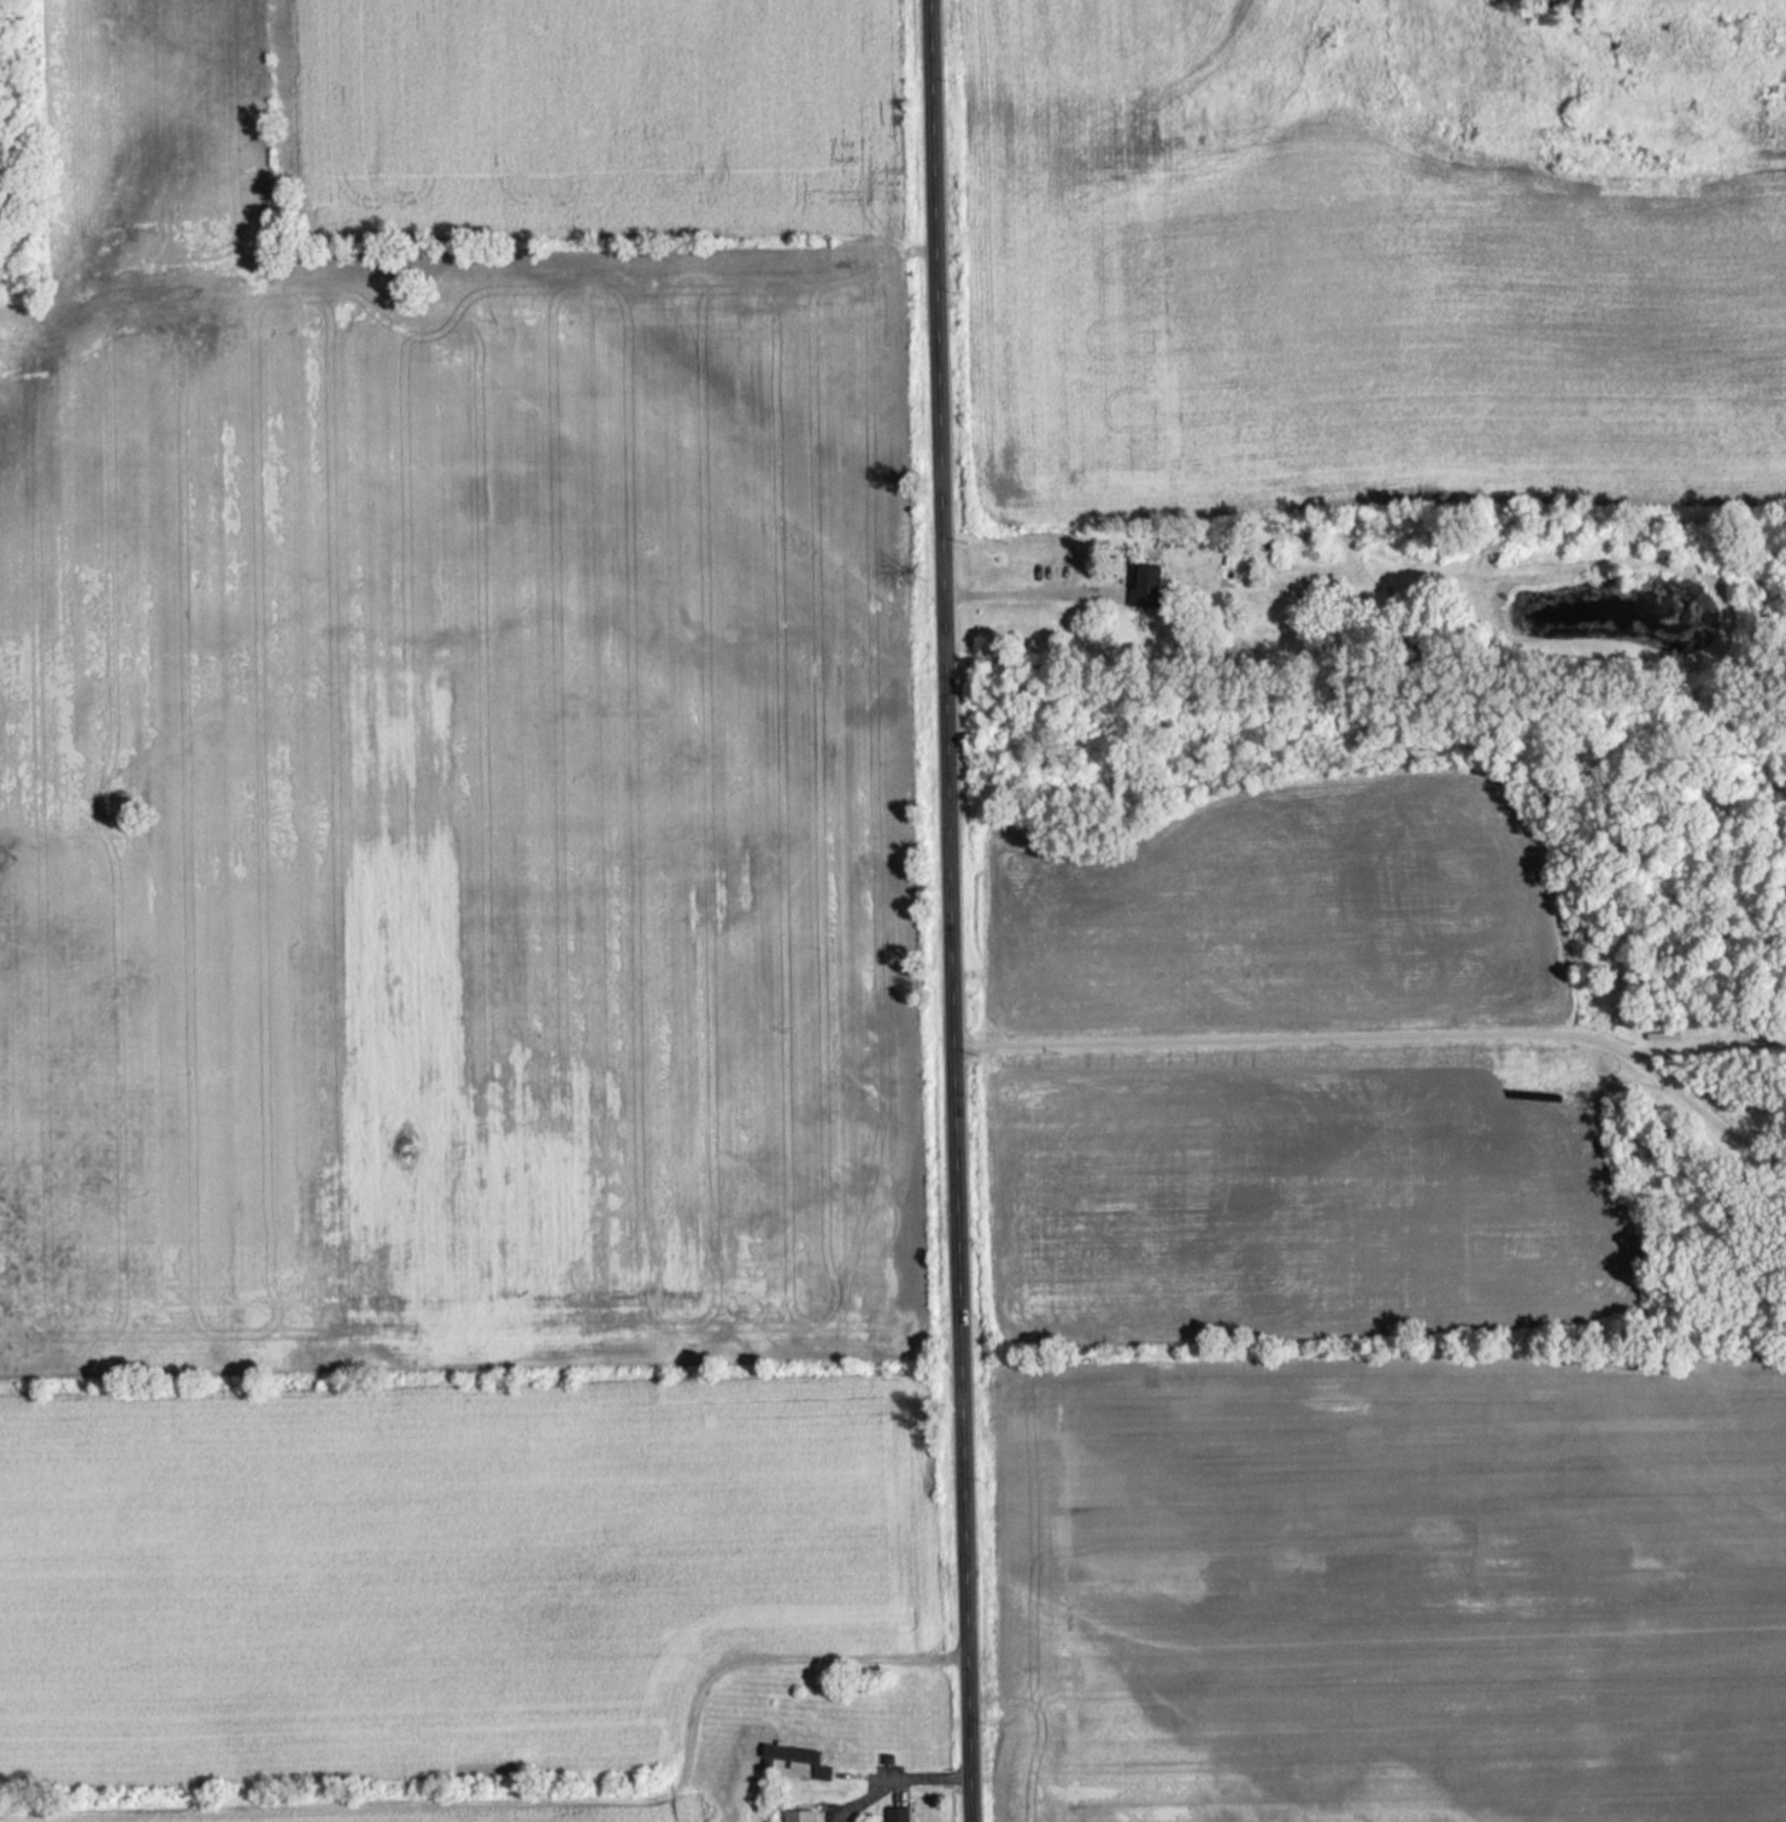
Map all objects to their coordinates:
building: (1145, 584)
road: (1032, 594)
road: (951, 910)
road: (1293, 1040)
road: (1708, 1046)
road: (1705, 1113)
building: (787, 1757)
road: (904, 1780)
building: (897, 1814)
building: (799, 1815)

